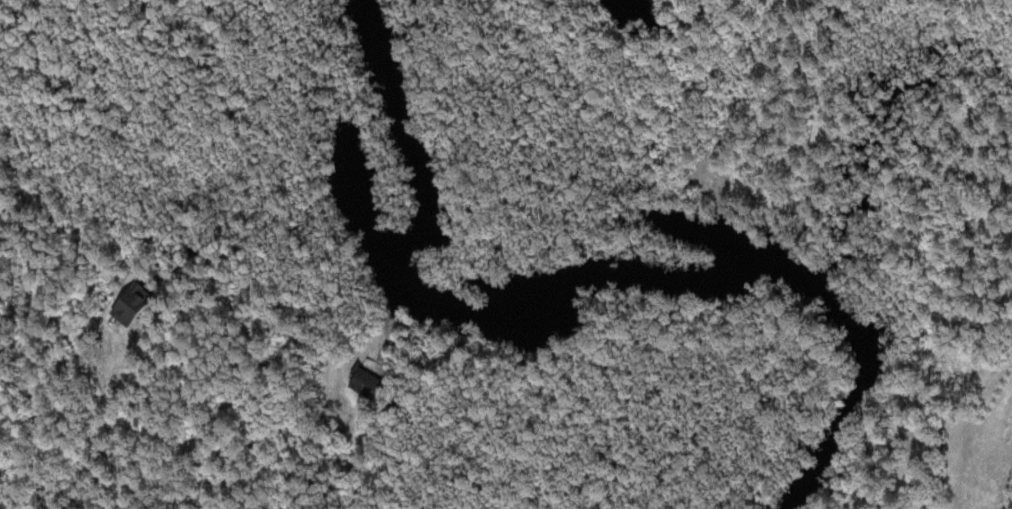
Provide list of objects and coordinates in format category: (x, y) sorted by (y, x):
building: (122, 304)
building: (361, 381)
road: (127, 418)
road: (955, 425)

